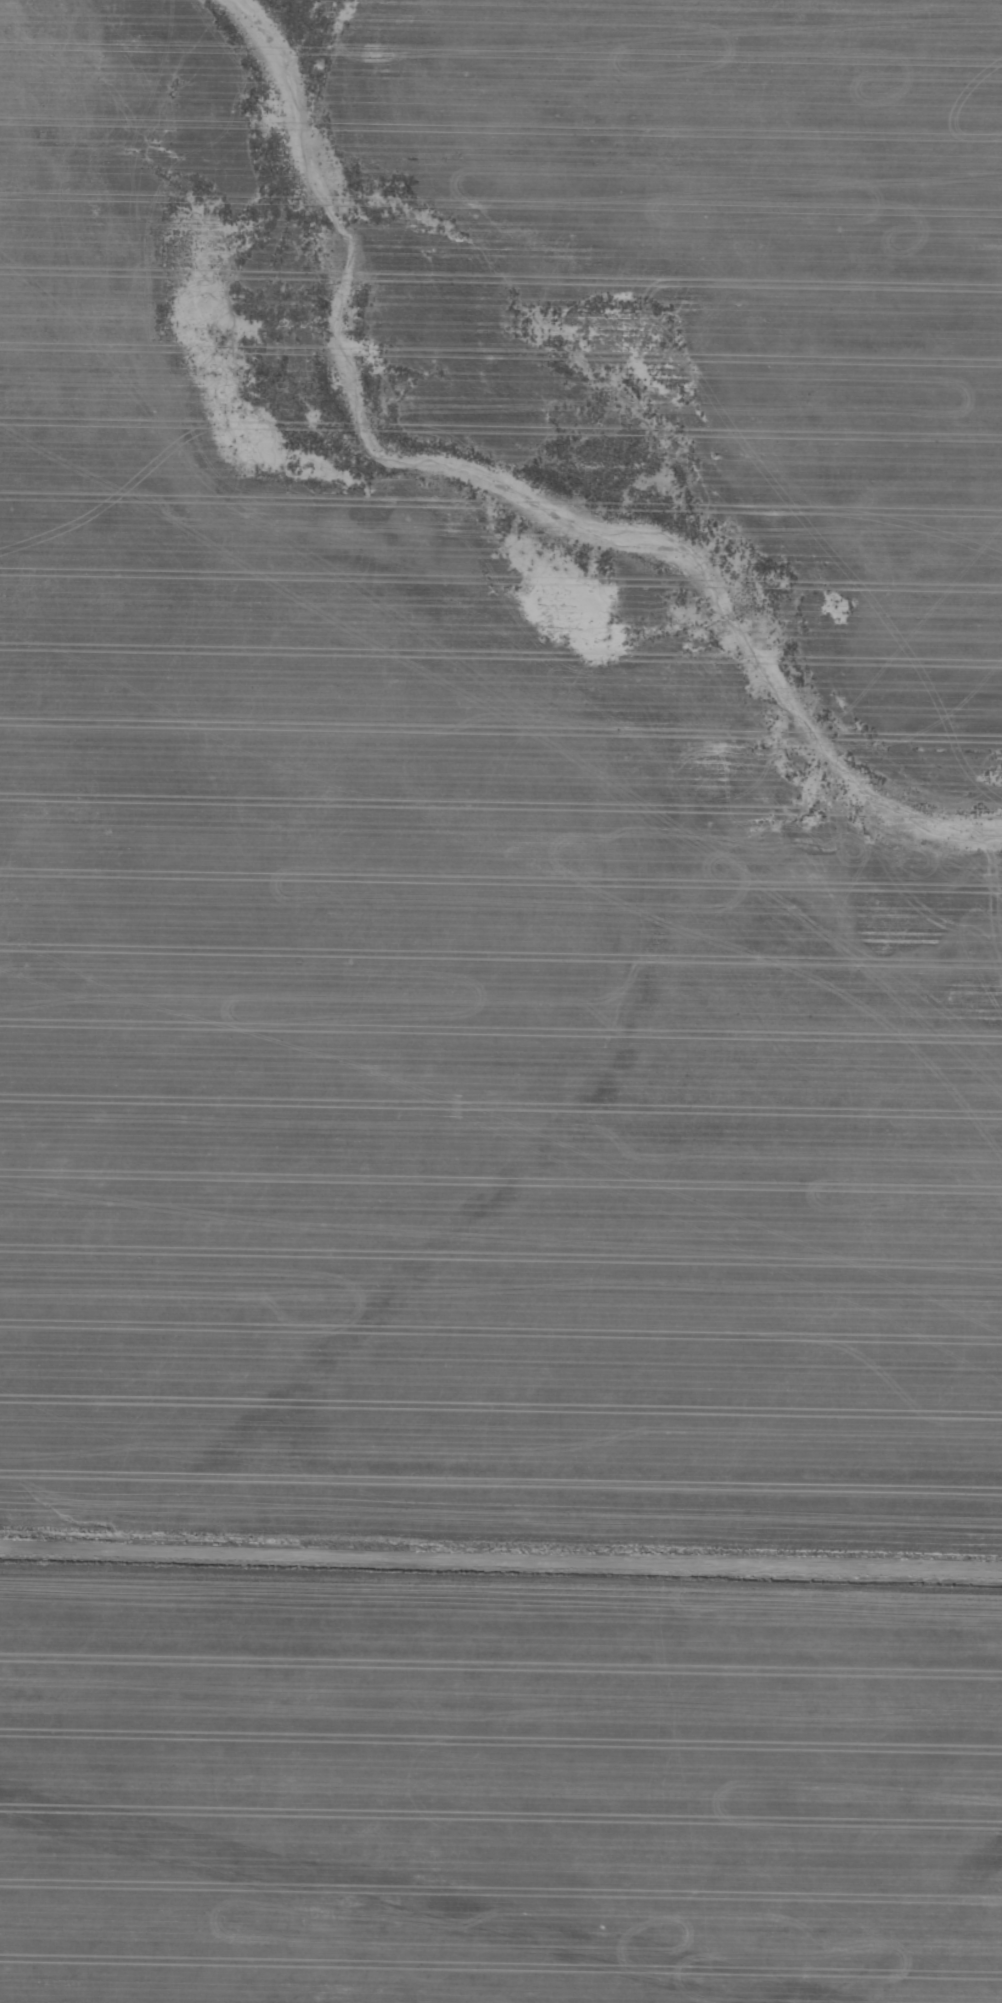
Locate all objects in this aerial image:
road: (501, 1552)

